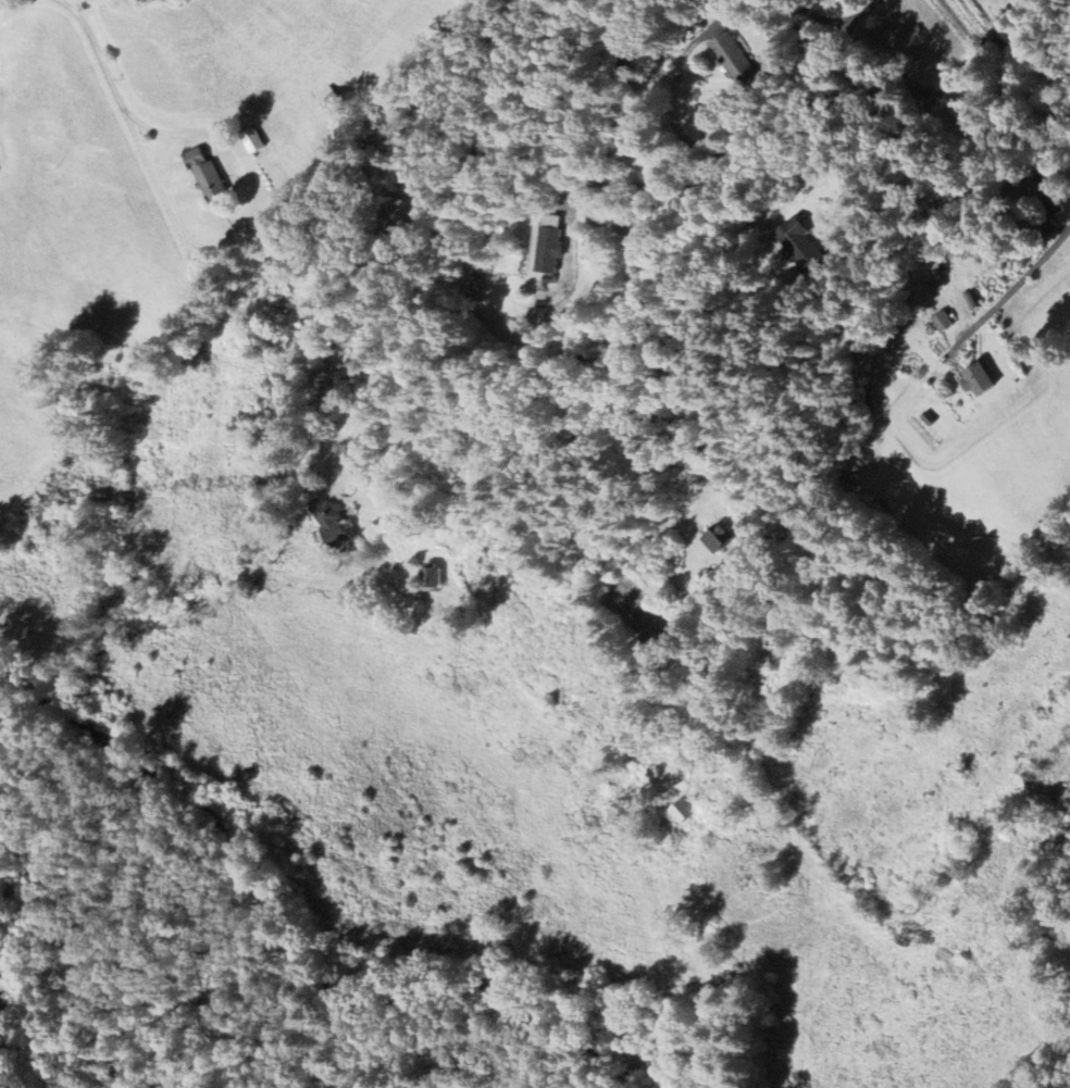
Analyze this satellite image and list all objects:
road: (98, 53)
building: (736, 60)
road: (922, 111)
building: (210, 175)
road: (726, 179)
road: (234, 228)
building: (548, 246)
building: (805, 246)
road: (1027, 275)
building: (940, 282)
building: (974, 301)
building: (944, 322)
building: (982, 379)
building: (337, 526)
building: (722, 539)
building: (435, 577)
building: (684, 812)

